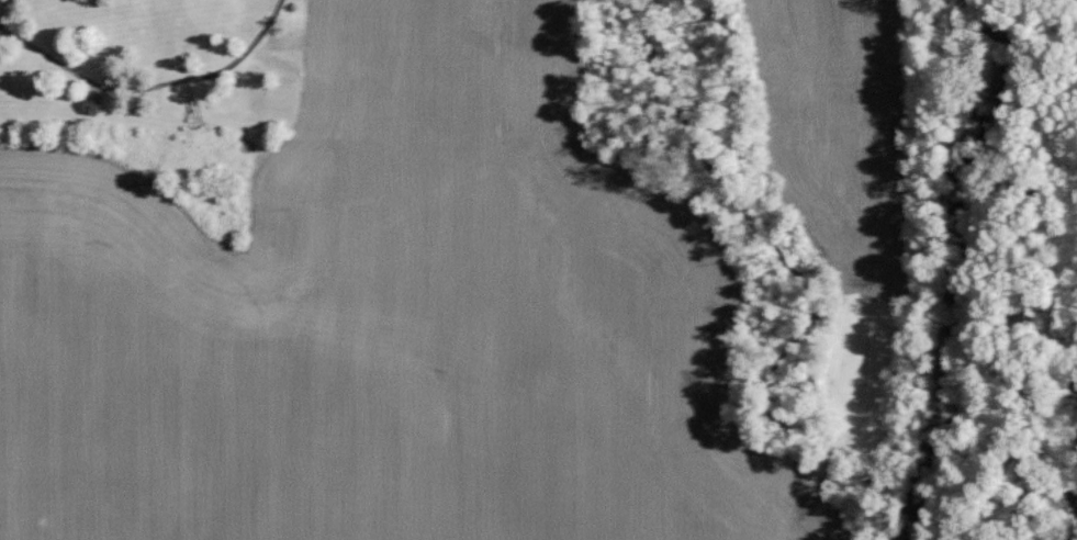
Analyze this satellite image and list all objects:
road: (2, 4)
road: (147, 80)

